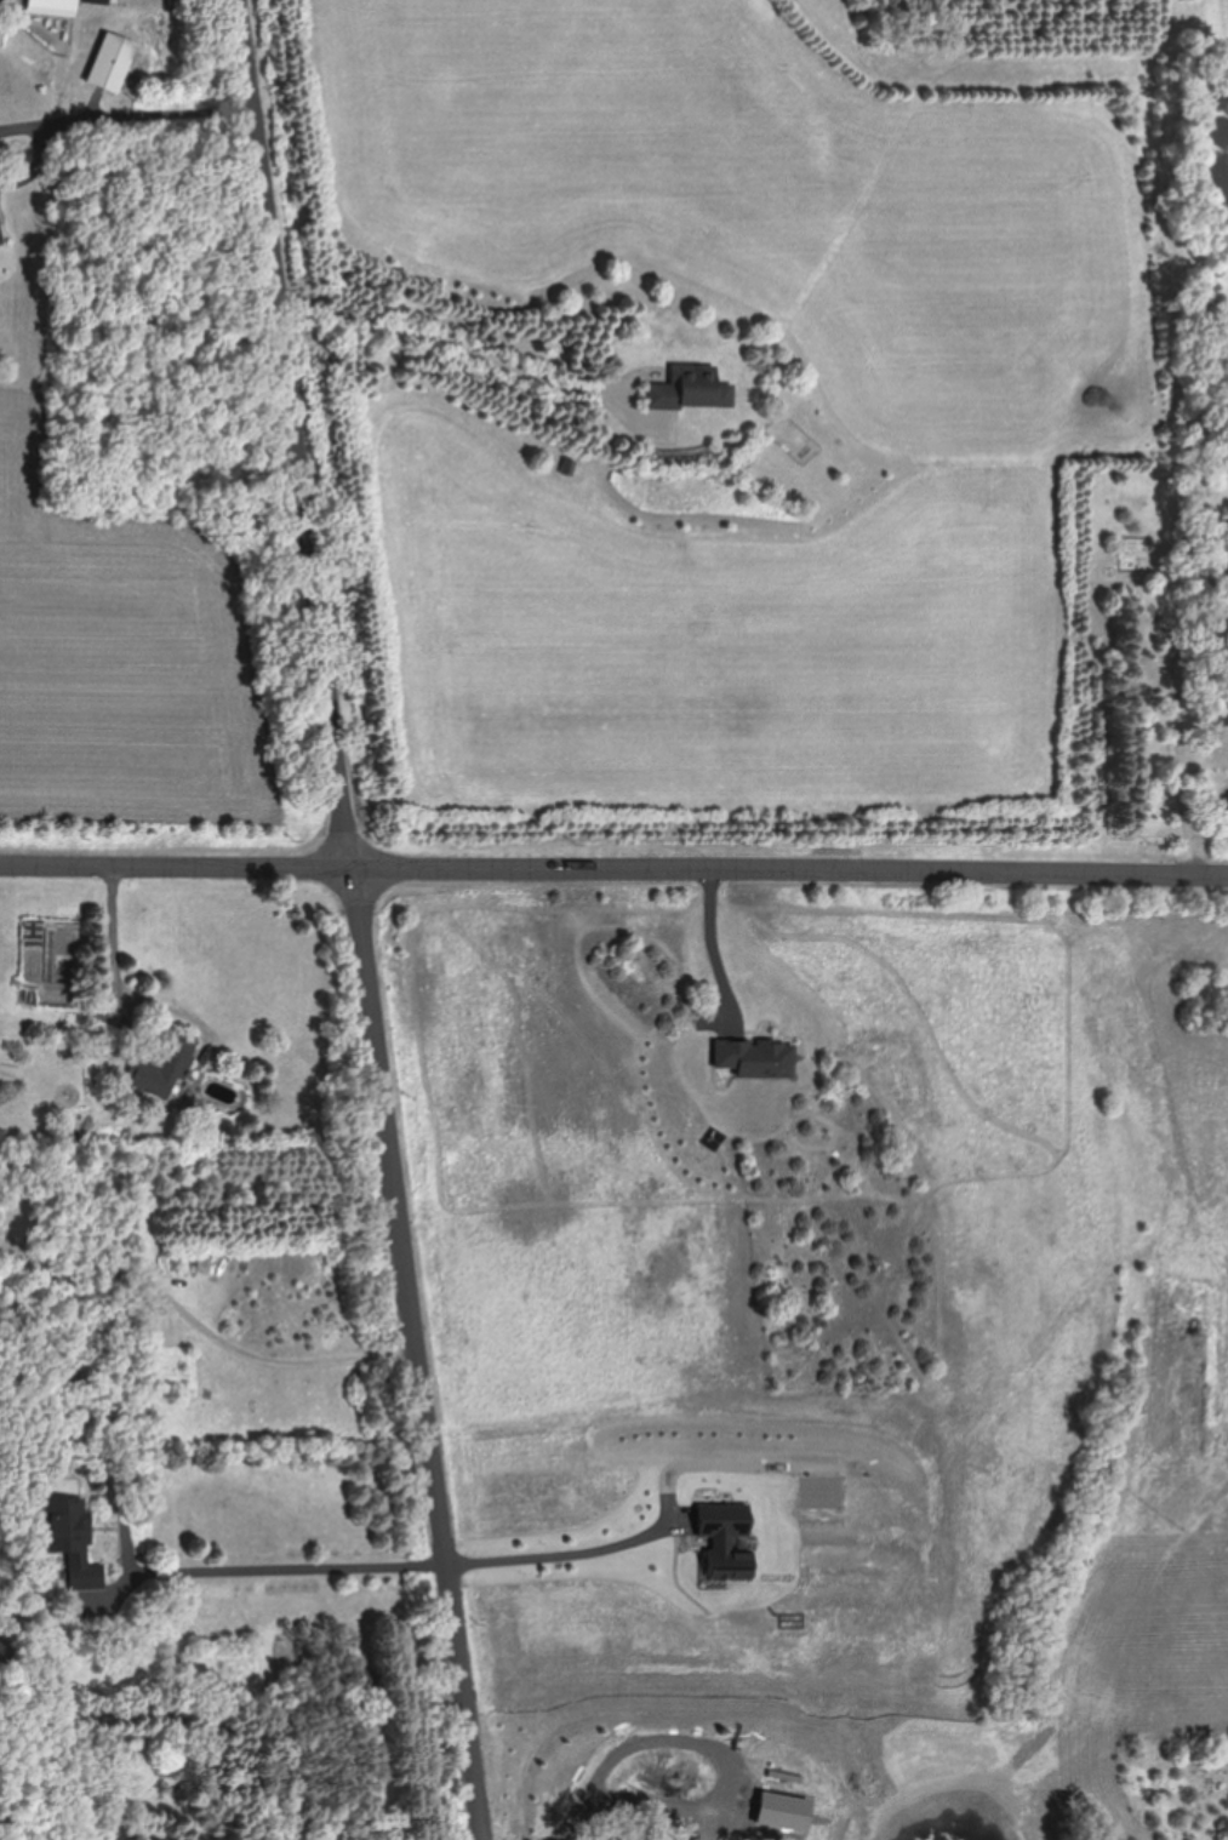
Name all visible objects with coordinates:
building: (97, 1)
building: (52, 7)
building: (110, 62)
road: (158, 115)
building: (0, 242)
road: (462, 347)
building: (695, 389)
road: (613, 865)
road: (361, 919)
road: (112, 926)
road: (710, 938)
building: (164, 1068)
building: (205, 1263)
road: (202, 1327)
road: (561, 1539)
building: (72, 1541)
road: (289, 1559)
road: (636, 1795)

